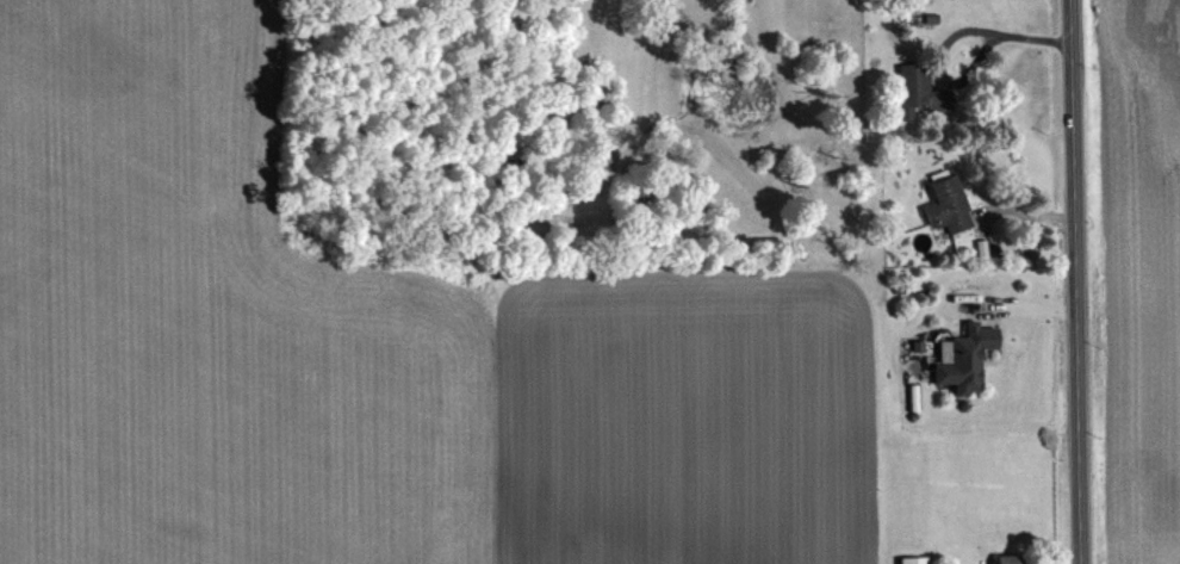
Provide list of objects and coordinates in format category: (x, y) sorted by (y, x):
road: (1001, 35)
building: (921, 89)
building: (948, 205)
road: (1070, 281)
building: (969, 358)
building: (1011, 559)
building: (917, 560)

